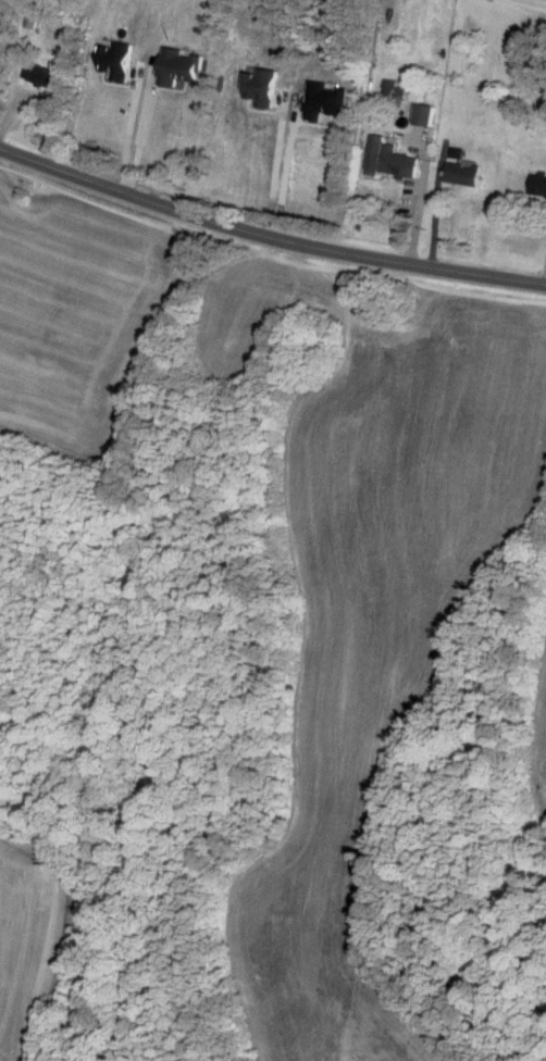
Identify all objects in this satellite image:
road: (544, 0)
building: (42, 73)
building: (394, 95)
building: (424, 114)
road: (126, 130)
road: (141, 130)
building: (162, 135)
building: (397, 161)
road: (275, 170)
building: (462, 174)
building: (537, 183)
road: (422, 199)
road: (268, 236)

